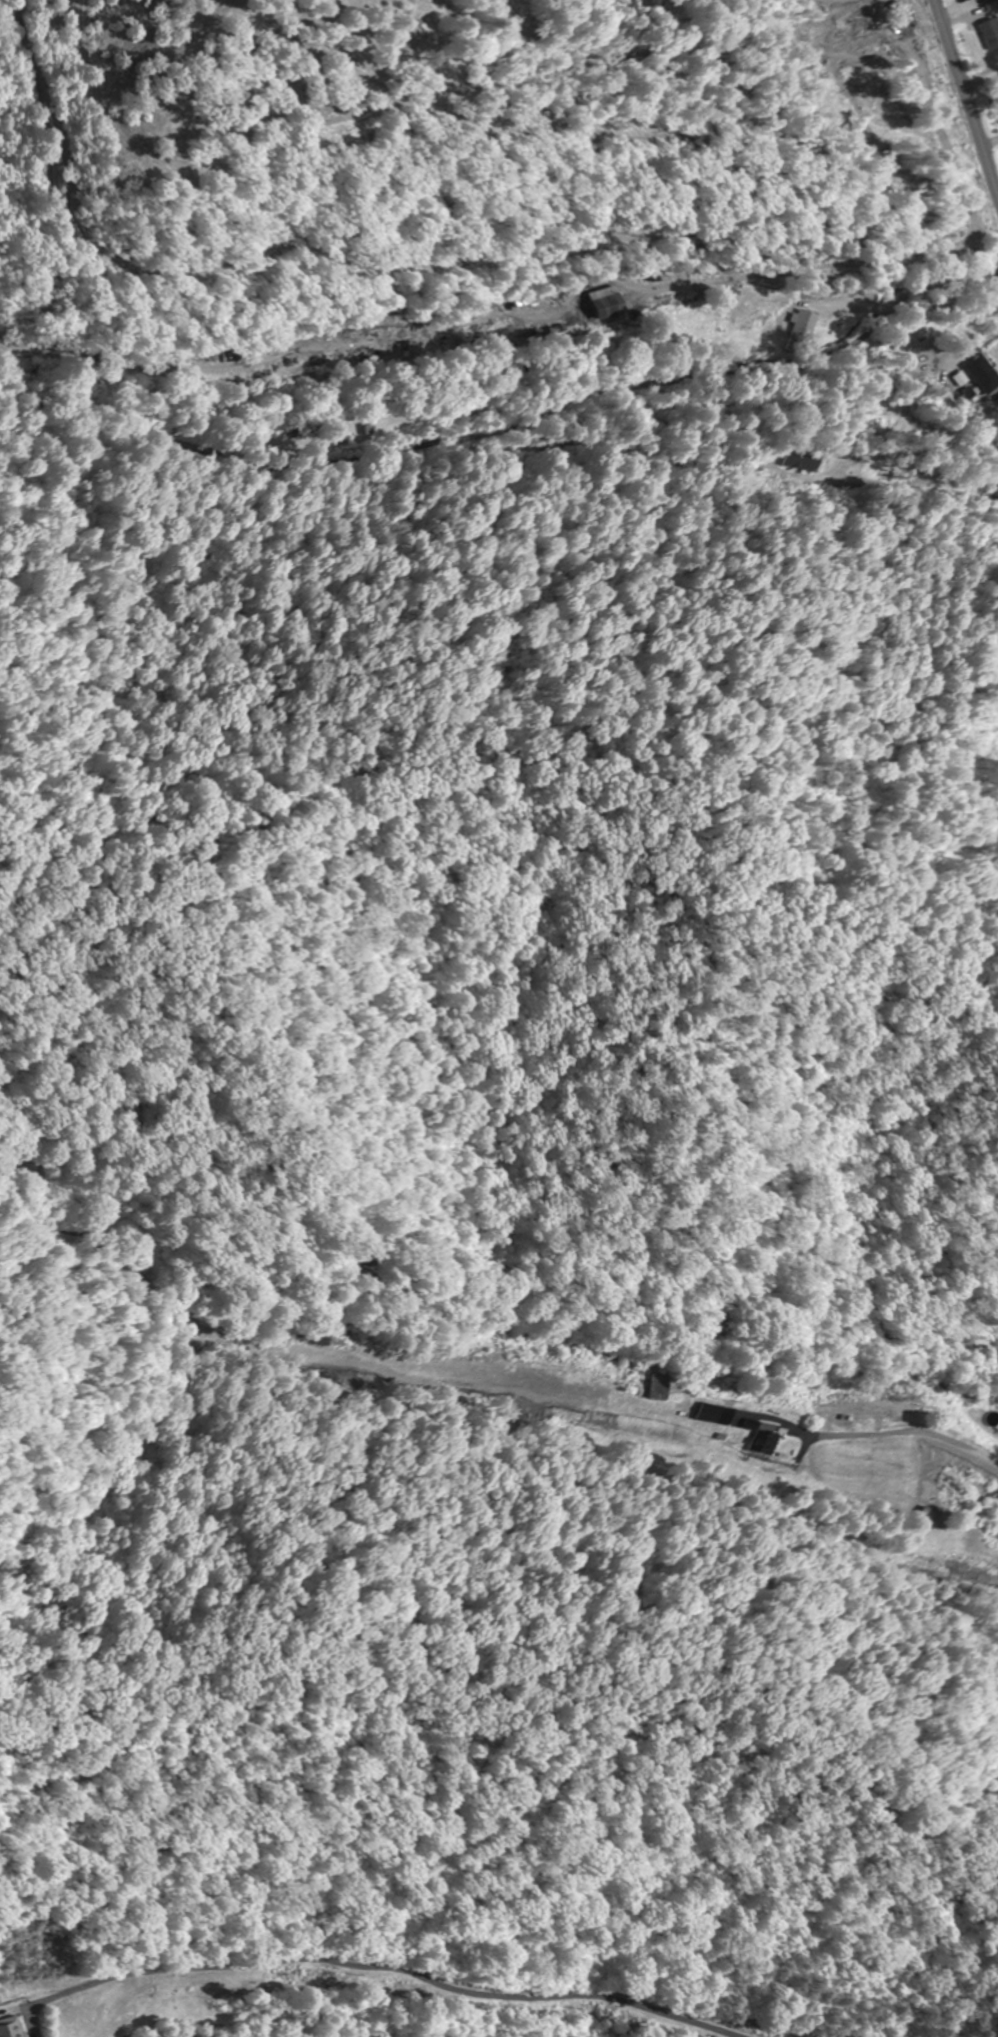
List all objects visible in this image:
building: (991, 32)
road: (966, 97)
building: (606, 305)
building: (806, 326)
building: (495, 332)
road: (670, 351)
building: (986, 372)
building: (806, 460)
building: (995, 486)
building: (657, 1386)
road: (818, 1386)
building: (709, 1412)
building: (894, 1416)
building: (12, 2027)

